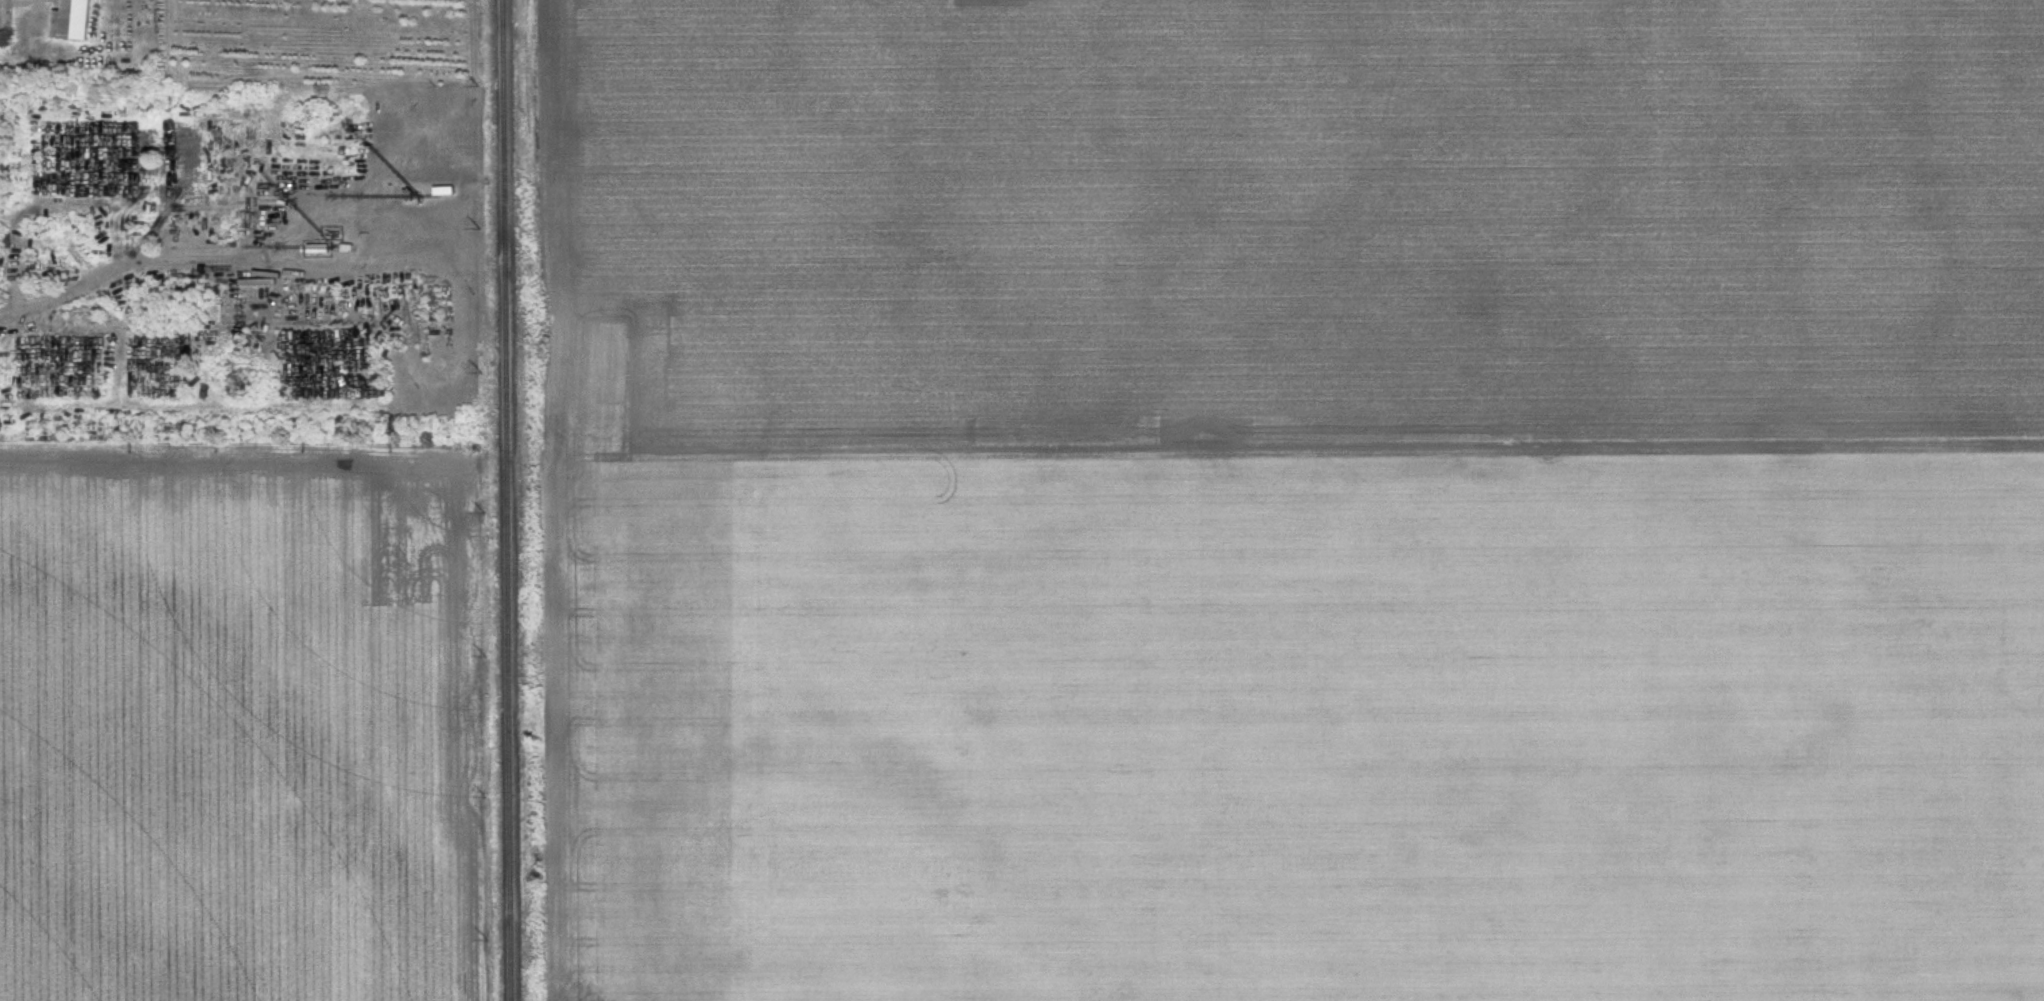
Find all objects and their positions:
building: (77, 22)
road: (133, 269)
building: (109, 296)
railway: (504, 500)
crop: (1306, 500)
crop: (241, 728)

